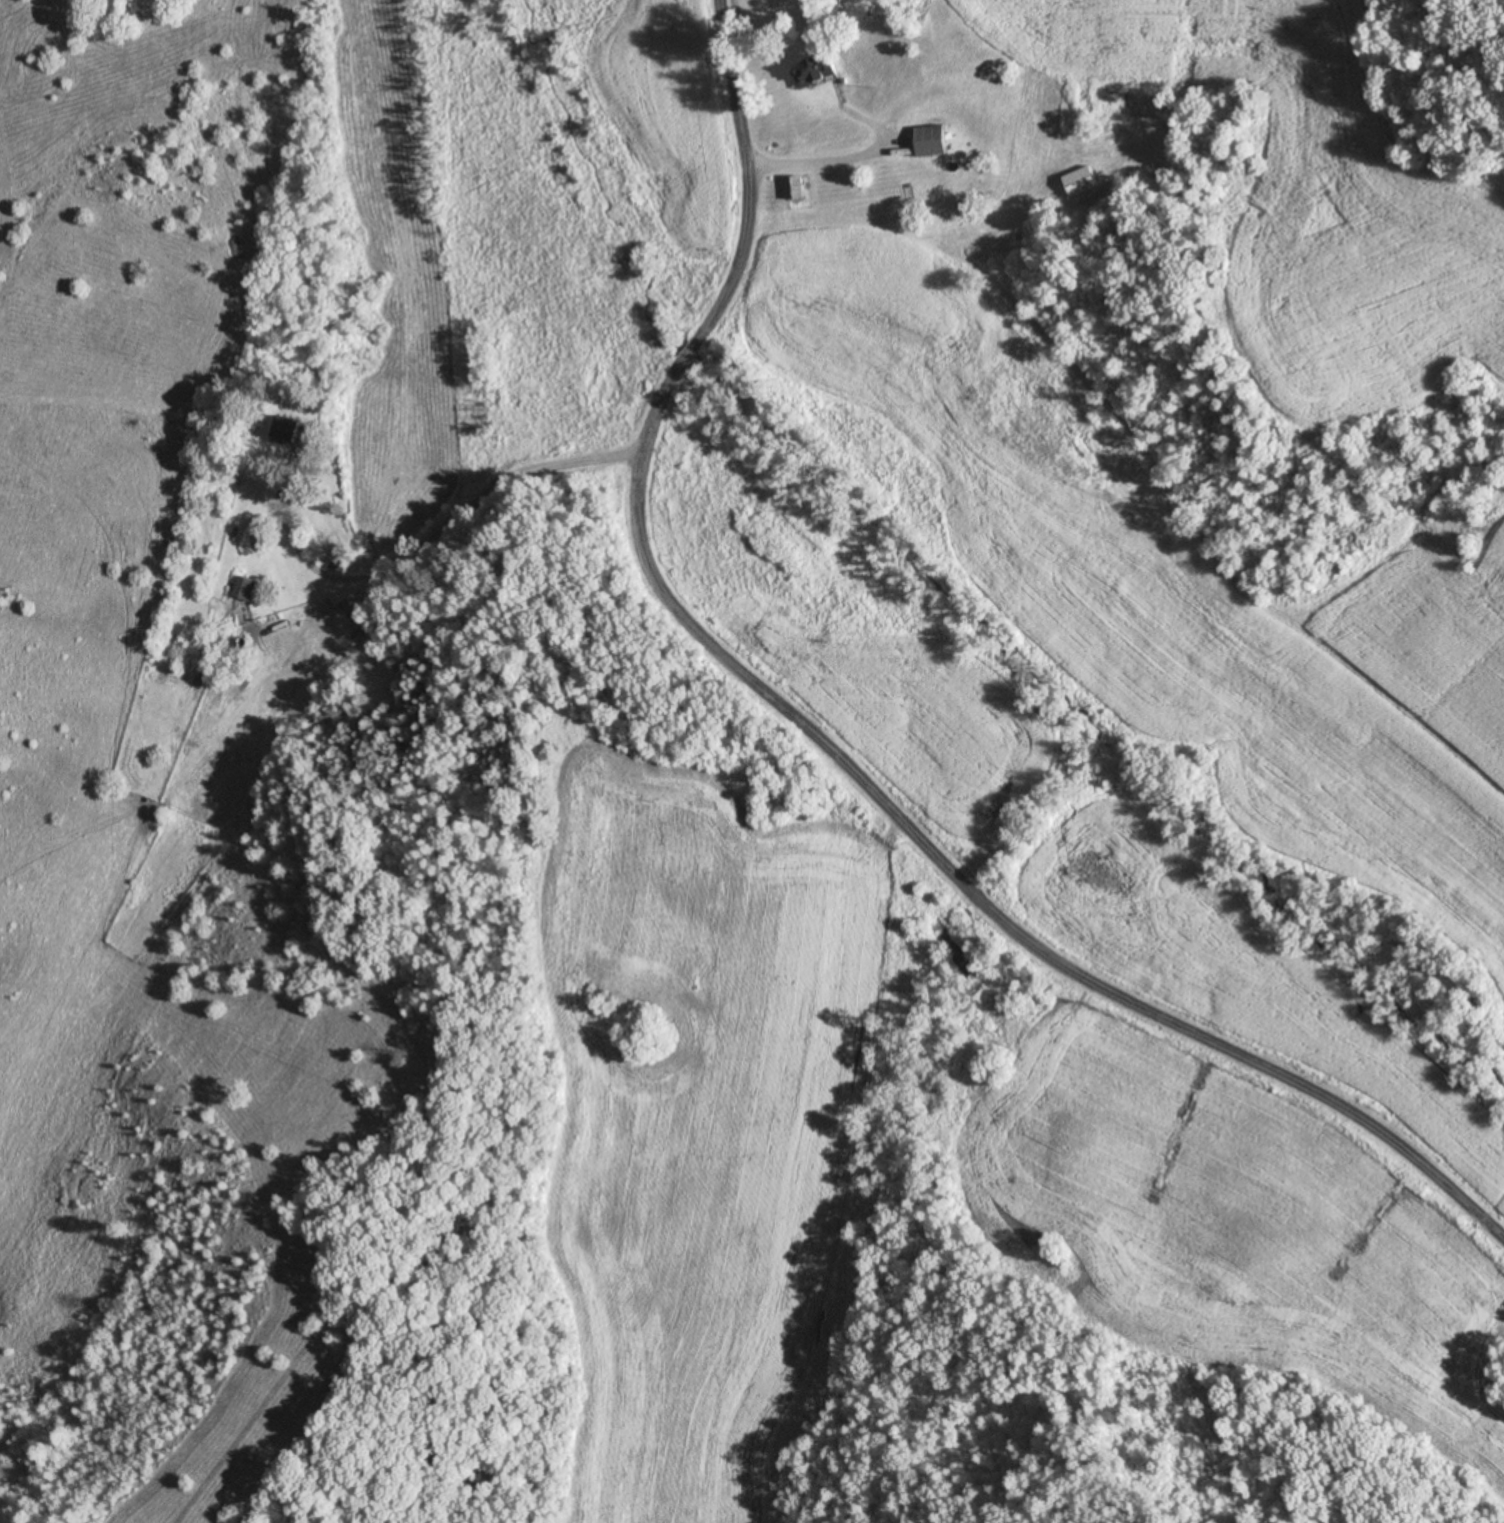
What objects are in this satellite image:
building: (816, 69)
building: (933, 140)
road: (813, 164)
building: (1078, 181)
building: (795, 188)
road: (439, 529)
building: (244, 588)
road: (819, 747)

